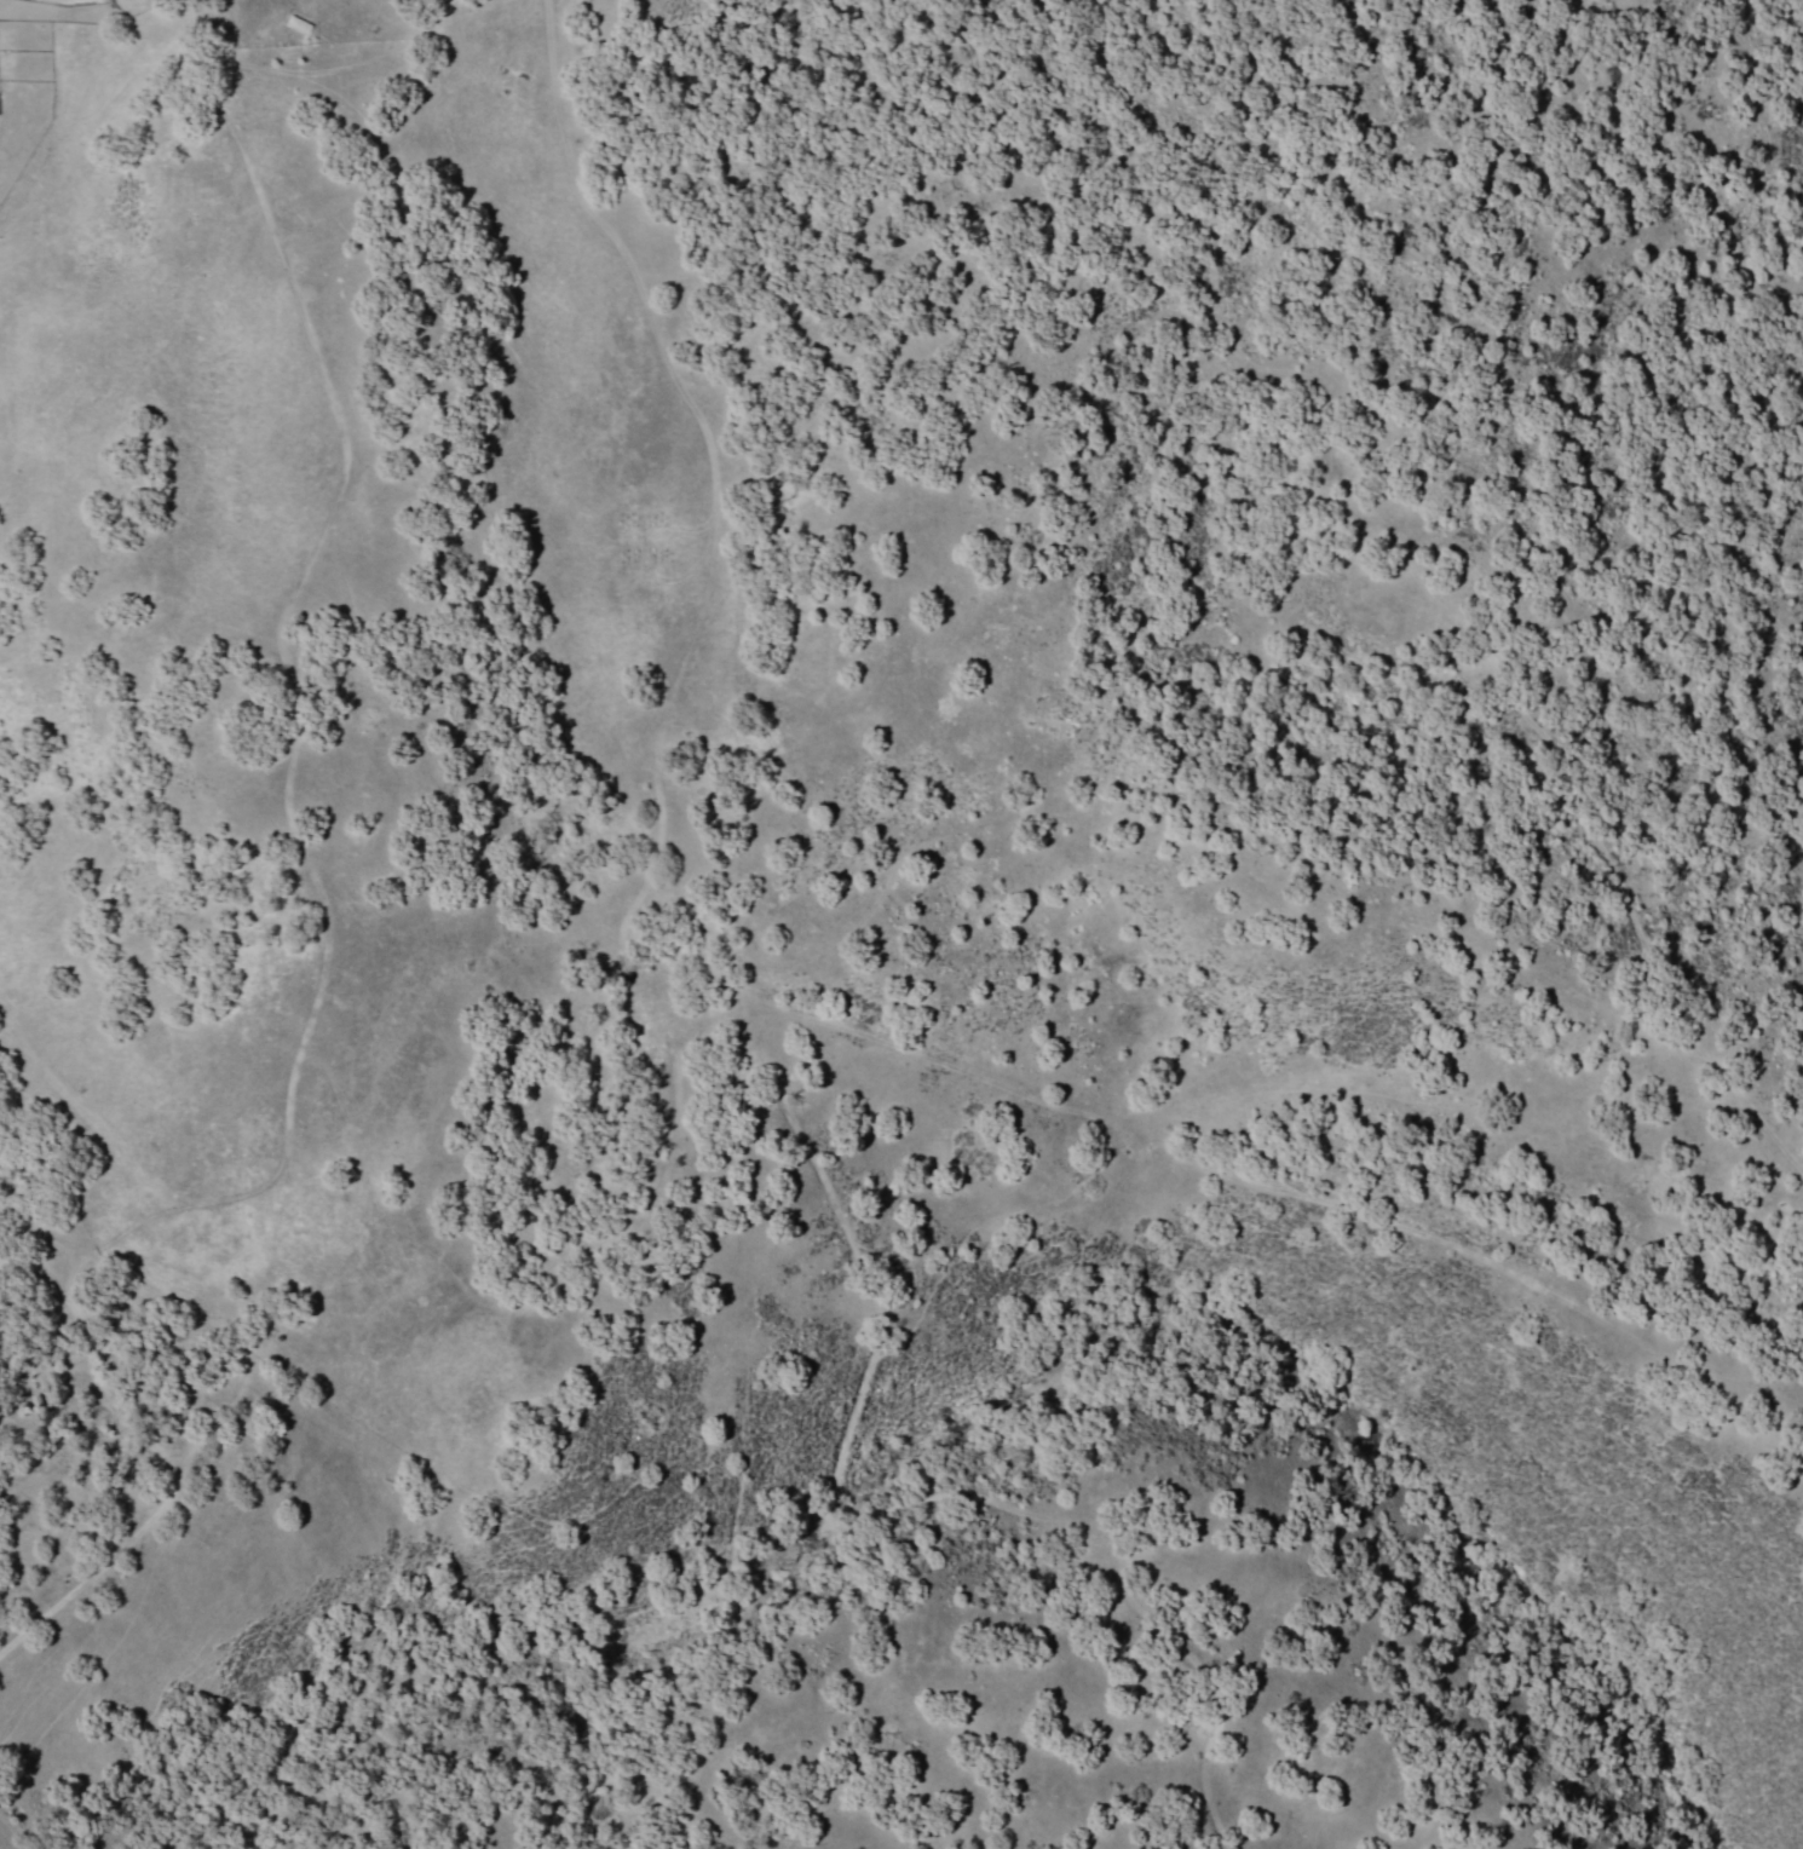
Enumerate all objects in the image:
road: (1340, 902)
road: (1538, 1257)

